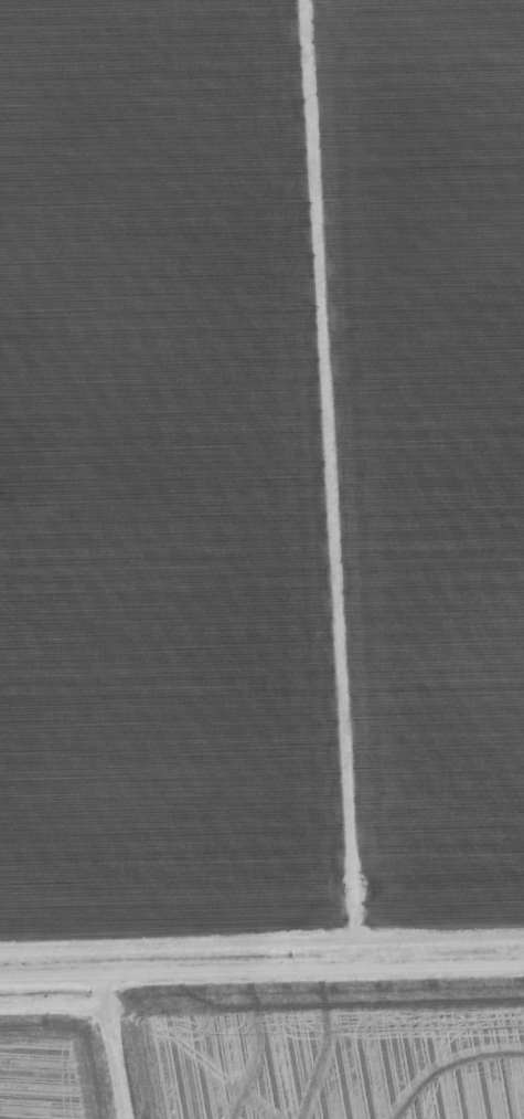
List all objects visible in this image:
road: (261, 971)
road: (127, 1046)

